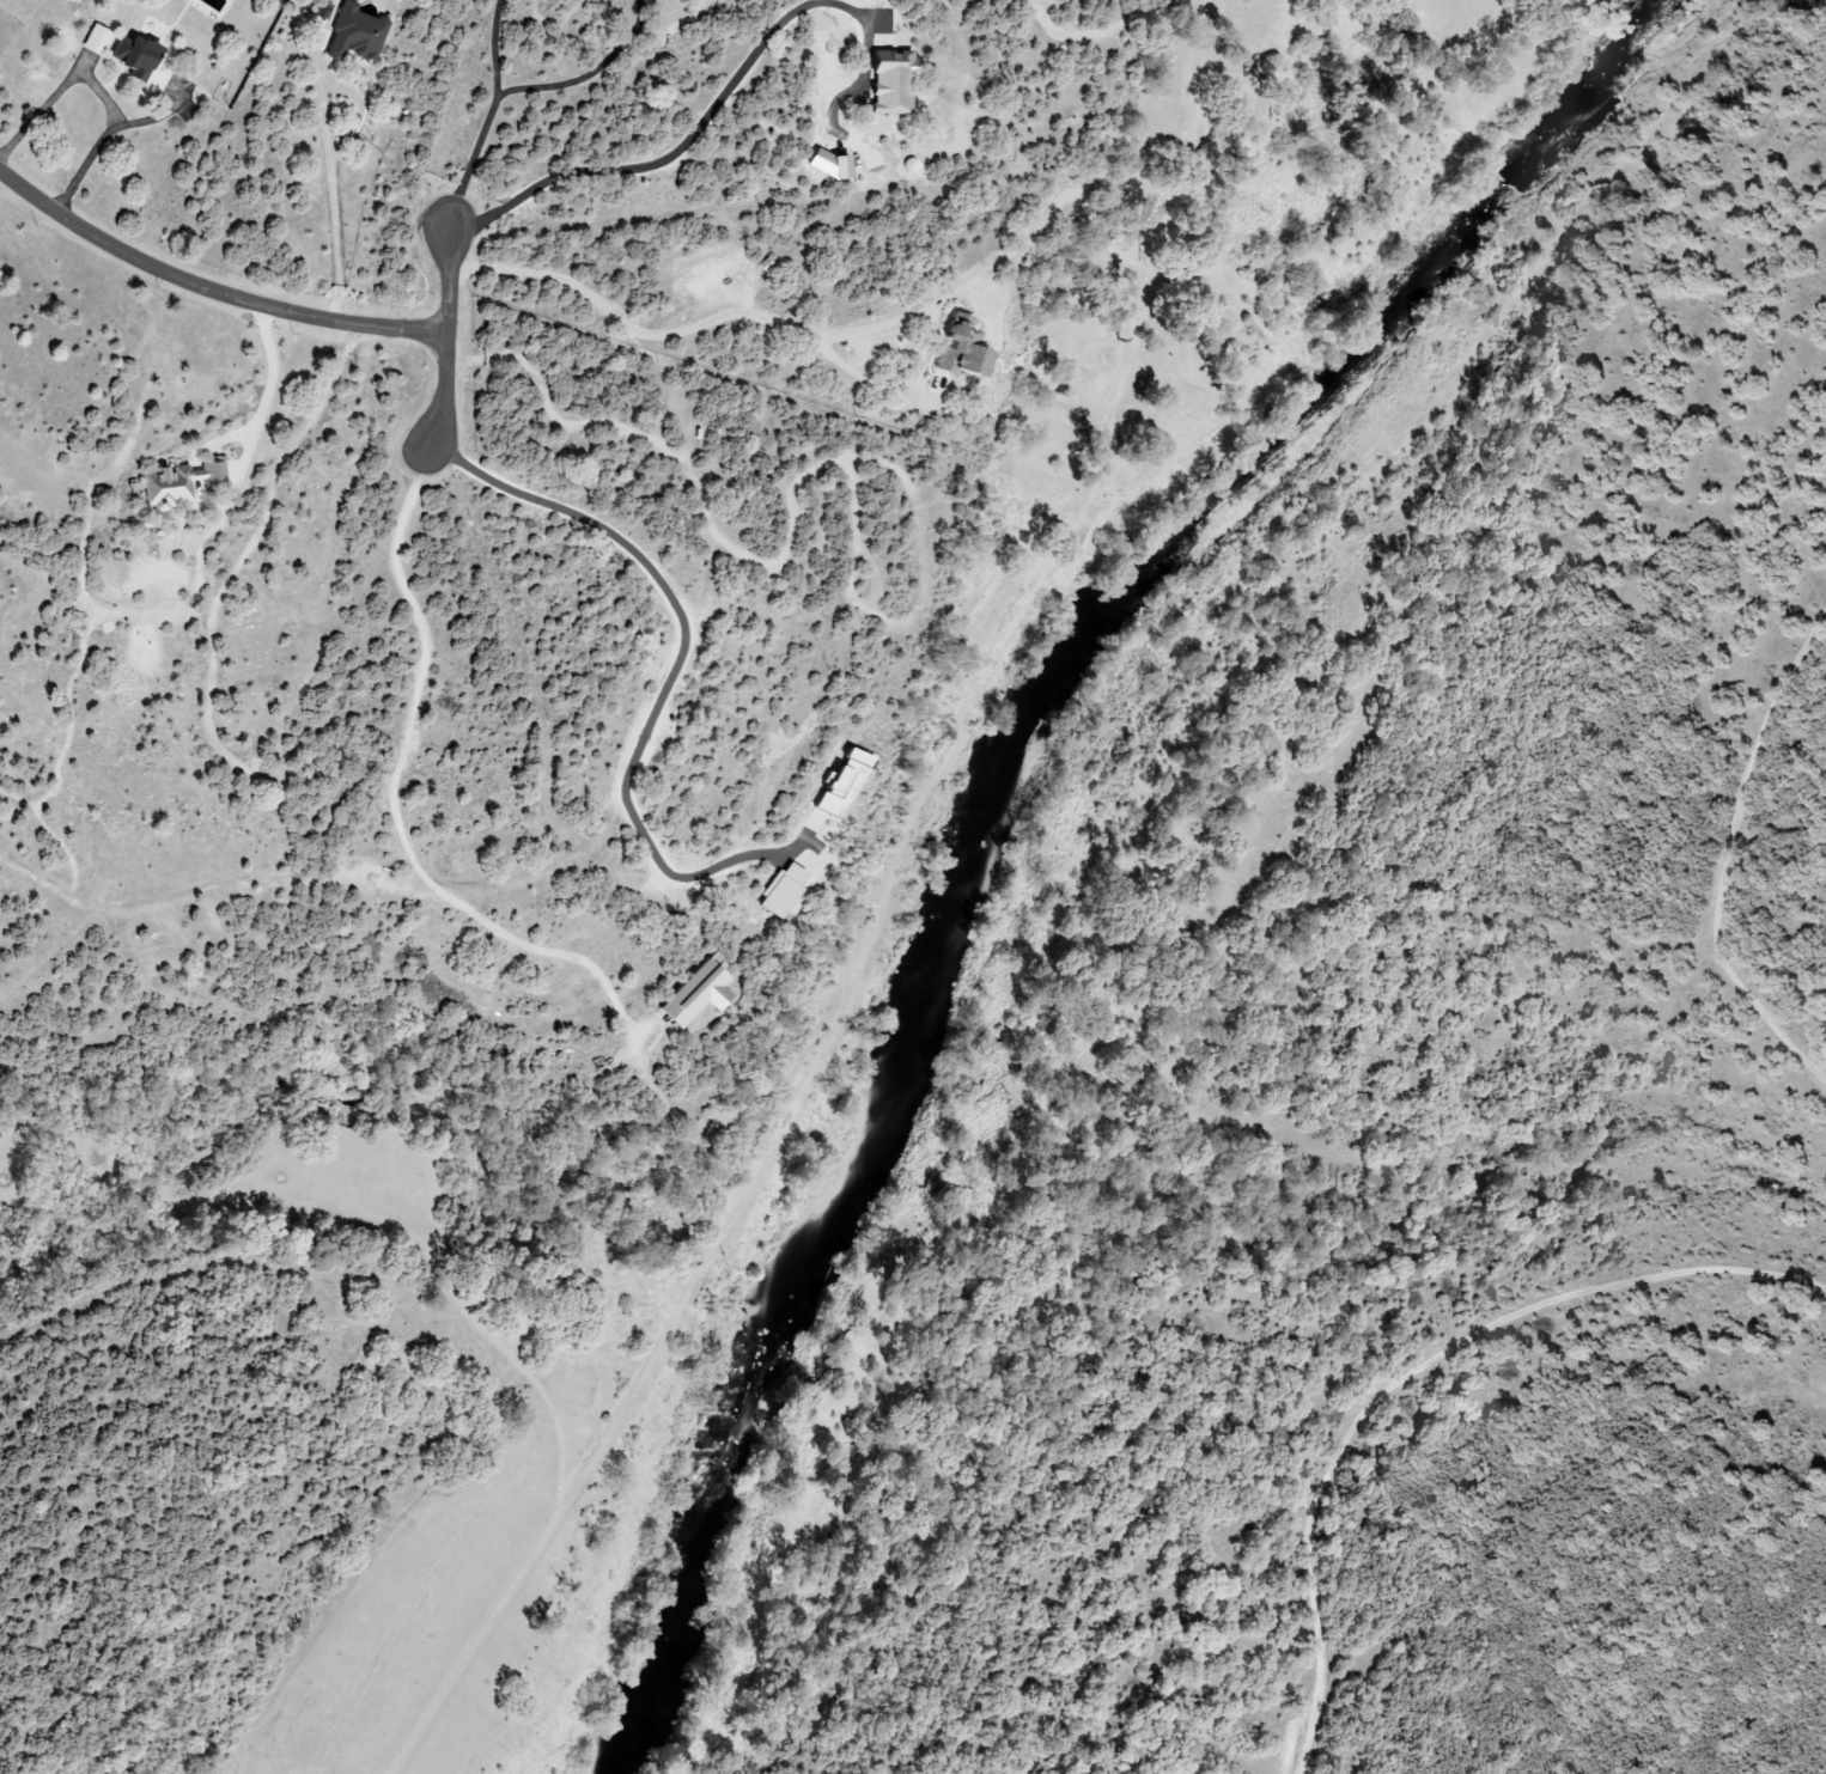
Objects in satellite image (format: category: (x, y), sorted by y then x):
building: (352, 36)
building: (96, 41)
road: (493, 48)
building: (132, 57)
road: (591, 75)
building: (887, 83)
road: (101, 98)
road: (701, 123)
road: (471, 161)
road: (208, 292)
road: (772, 322)
road: (444, 341)
building: (958, 349)
road: (272, 384)
road: (658, 444)
building: (177, 483)
road: (682, 657)
building: (838, 785)
road: (396, 792)
river: (991, 799)
road: (678, 878)
building: (779, 890)
building: (693, 995)

